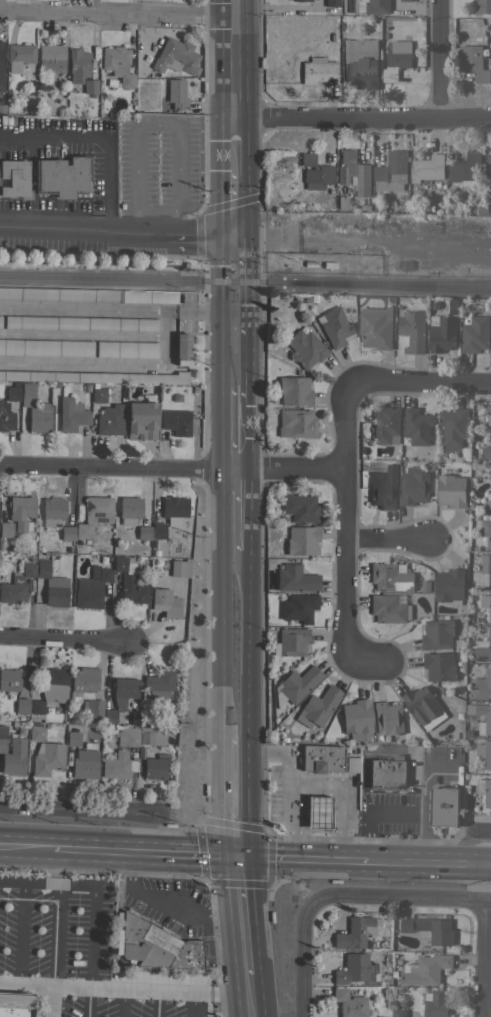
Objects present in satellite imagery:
building: (300, 0)
building: (406, 0)
building: (332, 3)
building: (376, 6)
building: (483, 6)
road: (117, 15)
building: (490, 37)
building: (19, 55)
building: (174, 56)
road: (234, 59)
building: (396, 59)
road: (439, 59)
building: (475, 59)
building: (50, 60)
building: (360, 62)
building: (118, 64)
building: (78, 65)
building: (1, 66)
building: (317, 70)
building: (90, 87)
building: (176, 94)
road: (363, 118)
road: (85, 138)
road: (236, 145)
building: (488, 162)
building: (427, 167)
building: (392, 168)
building: (464, 168)
building: (314, 172)
building: (353, 172)
building: (62, 176)
building: (13, 178)
road: (237, 201)
building: (340, 201)
road: (51, 206)
building: (364, 206)
building: (373, 208)
building: (380, 208)
building: (490, 210)
road: (102, 217)
road: (118, 228)
traffic signals: (237, 231)
railway: (145, 278)
railway: (391, 283)
railway: (391, 286)
building: (88, 295)
building: (312, 297)
building: (305, 298)
building: (452, 305)
building: (434, 306)
road: (84, 308)
road: (236, 308)
road: (202, 309)
building: (0, 321)
building: (80, 323)
building: (335, 327)
building: (375, 327)
building: (412, 330)
building: (475, 334)
building: (490, 334)
building: (443, 335)
building: (45, 347)
building: (305, 348)
building: (126, 349)
building: (182, 349)
road: (111, 364)
building: (95, 377)
road: (424, 383)
building: (27, 390)
building: (293, 390)
building: (12, 393)
road: (237, 395)
building: (98, 396)
building: (71, 414)
building: (6, 417)
building: (39, 418)
building: (487, 419)
building: (109, 420)
building: (141, 420)
building: (176, 421)
building: (296, 423)
building: (489, 424)
building: (386, 425)
building: (454, 425)
building: (417, 426)
road: (237, 436)
building: (486, 452)
building: (462, 453)
building: (429, 466)
road: (174, 467)
building: (284, 486)
building: (414, 486)
building: (383, 488)
building: (451, 490)
building: (488, 504)
building: (300, 508)
building: (173, 509)
road: (238, 509)
building: (98, 510)
building: (129, 510)
building: (20, 511)
building: (52, 511)
building: (5, 529)
building: (158, 530)
building: (82, 531)
building: (486, 531)
building: (67, 533)
building: (143, 533)
road: (348, 538)
road: (389, 540)
building: (302, 541)
building: (485, 565)
building: (180, 568)
building: (390, 577)
building: (295, 579)
building: (129, 582)
building: (16, 583)
building: (52, 586)
building: (424, 586)
building: (450, 586)
building: (91, 588)
building: (165, 602)
building: (486, 603)
building: (298, 607)
building: (389, 609)
building: (437, 634)
road: (66, 638)
building: (290, 642)
road: (238, 643)
building: (482, 647)
building: (468, 660)
building: (439, 666)
building: (9, 679)
building: (83, 683)
building: (53, 684)
building: (159, 684)
building: (295, 685)
building: (483, 686)
building: (120, 697)
building: (422, 703)
building: (21, 705)
building: (319, 705)
building: (36, 707)
building: (93, 710)
building: (460, 716)
building: (487, 717)
building: (388, 718)
building: (356, 719)
building: (36, 731)
building: (466, 734)
building: (126, 736)
building: (151, 736)
building: (72, 738)
building: (485, 752)
building: (12, 754)
building: (46, 758)
building: (319, 760)
building: (85, 762)
building: (117, 765)
building: (350, 765)
building: (154, 768)
building: (385, 774)
road: (293, 784)
building: (484, 791)
road: (237, 797)
road: (423, 797)
building: (446, 803)
road: (78, 811)
building: (315, 814)
road: (290, 821)
road: (367, 829)
road: (483, 833)
road: (337, 841)
road: (27, 847)
road: (145, 852)
traffic signals: (237, 857)
road: (263, 857)
road: (327, 859)
road: (427, 863)
road: (54, 866)
road: (240, 884)
road: (489, 884)
road: (399, 900)
road: (168, 903)
building: (429, 929)
building: (356, 932)
road: (246, 944)
building: (155, 946)
road: (485, 961)
road: (305, 962)
road: (93, 966)
building: (355, 969)
building: (425, 969)
road: (46, 982)
road: (249, 982)
road: (48, 1000)
road: (84, 1001)
road: (251, 1002)
building: (349, 1003)
building: (15, 1004)
building: (436, 1004)
building: (398, 1012)

